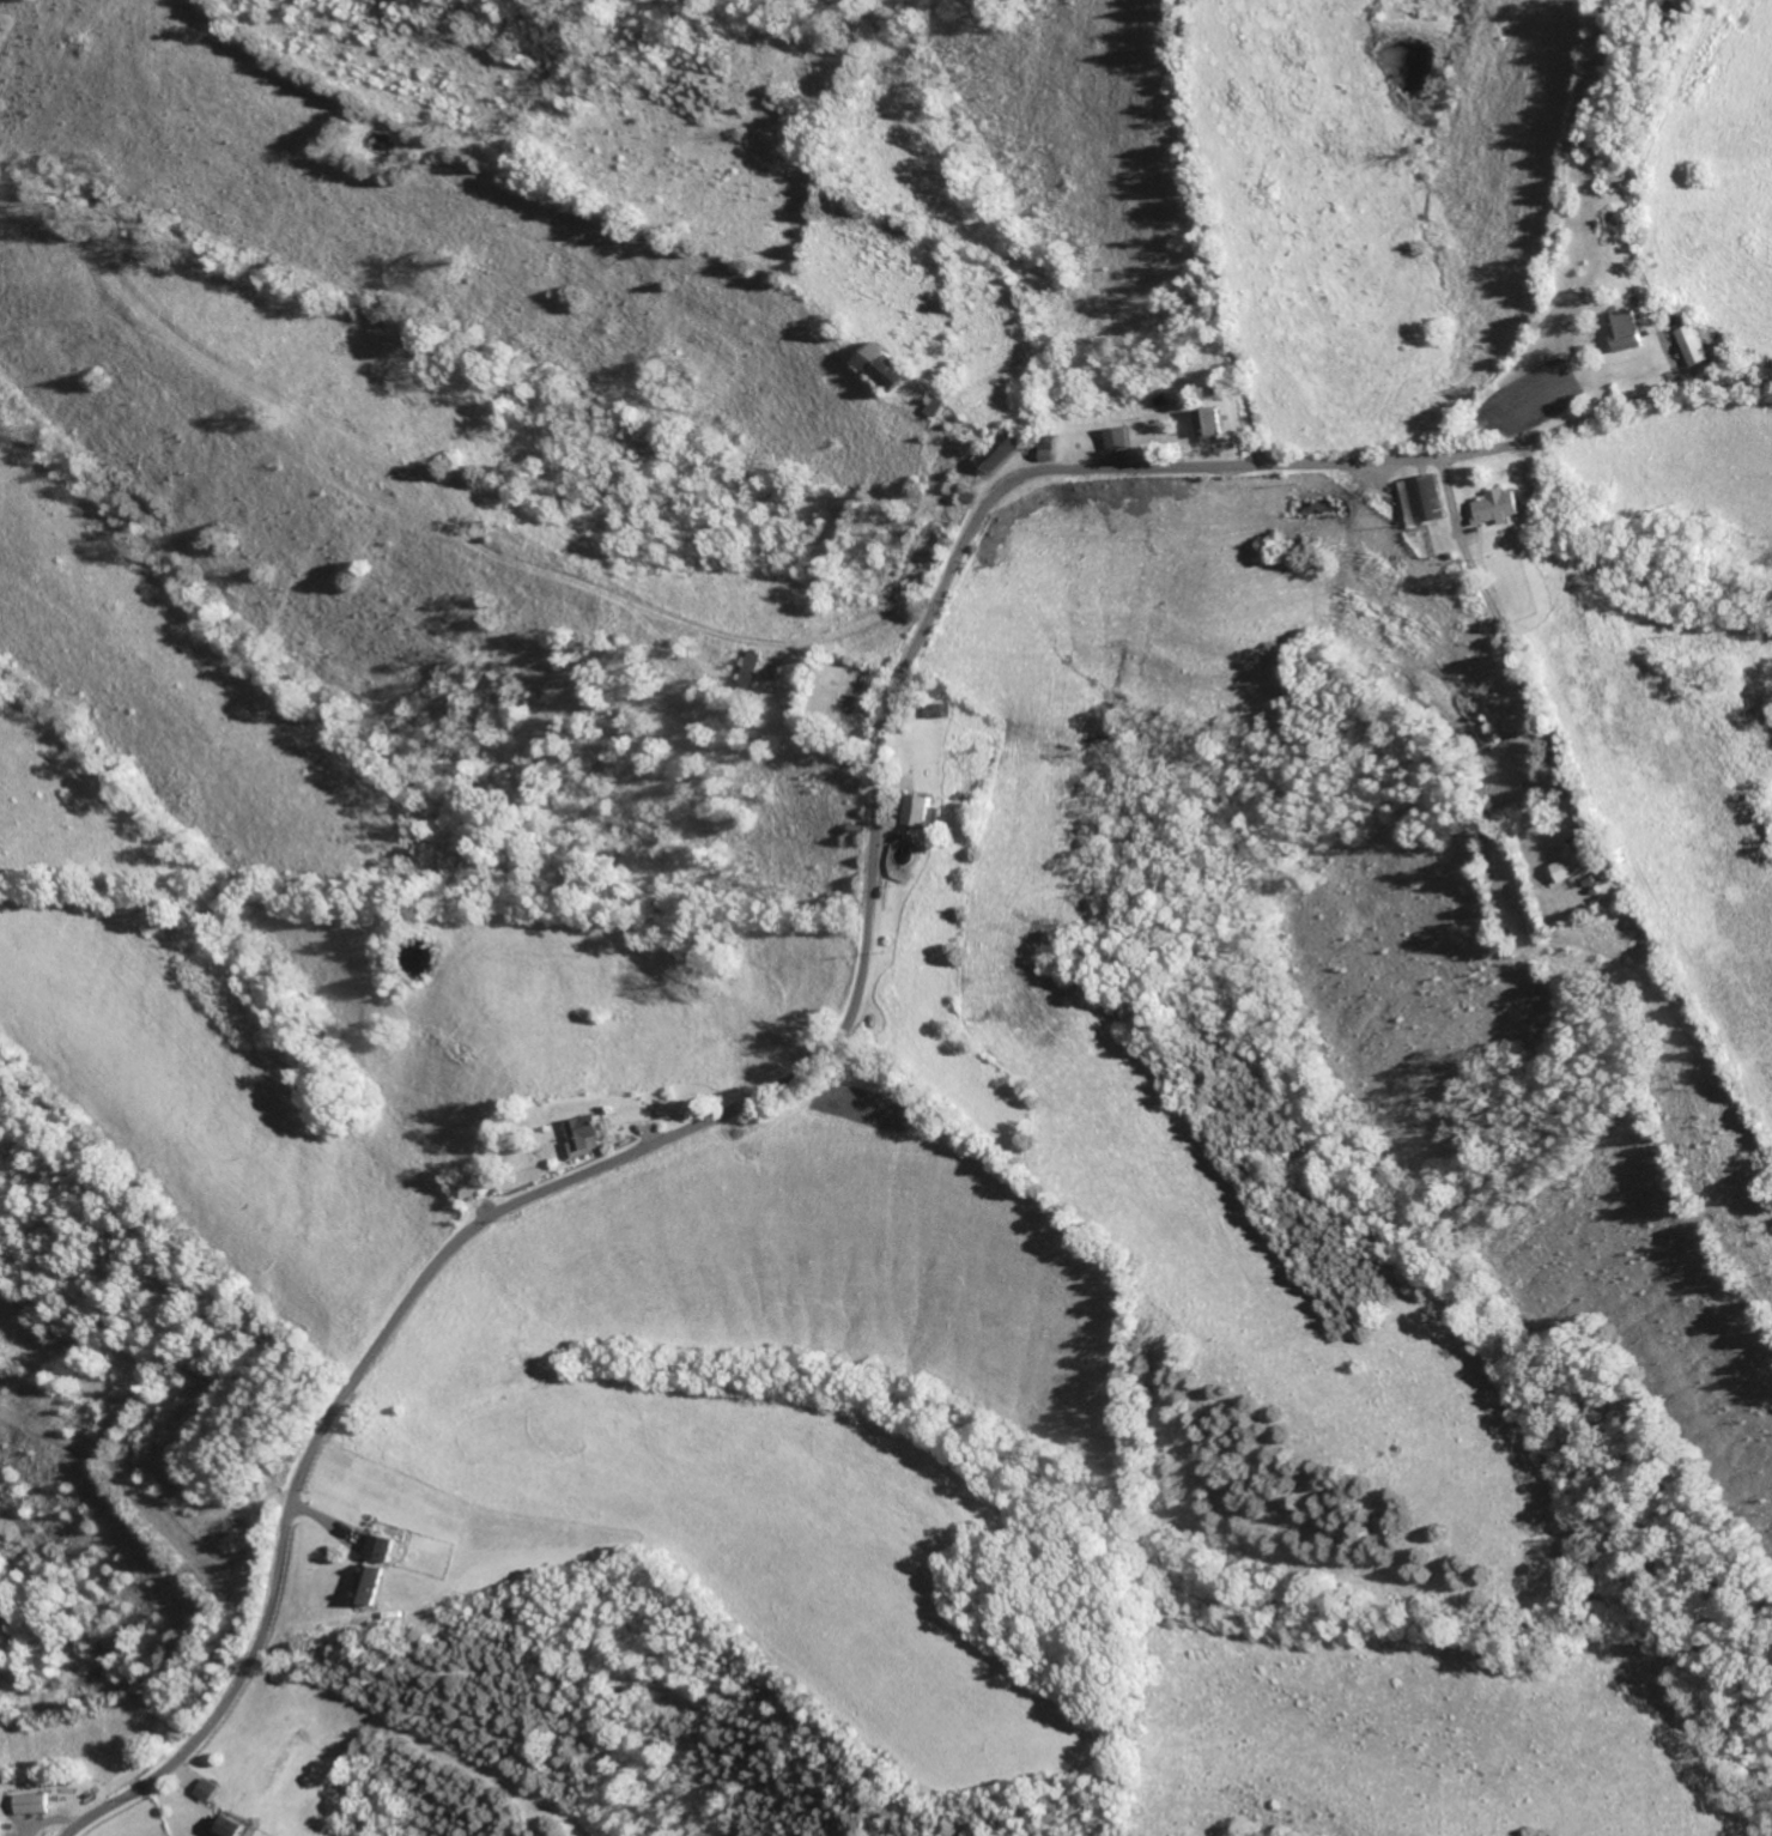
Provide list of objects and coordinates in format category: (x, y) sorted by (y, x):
road: (1207, 234)
road: (1646, 295)
building: (1631, 327)
building: (1697, 343)
building: (886, 364)
building: (1005, 450)
building: (1428, 497)
building: (1503, 505)
road: (860, 623)
road: (1511, 646)
building: (754, 667)
building: (922, 808)
building: (1576, 862)
road: (870, 943)
building: (591, 1135)
building: (473, 1184)
building: (386, 1547)
building: (374, 1584)
building: (213, 1789)
building: (40, 1804)
building: (1, 1824)
building: (237, 1828)

